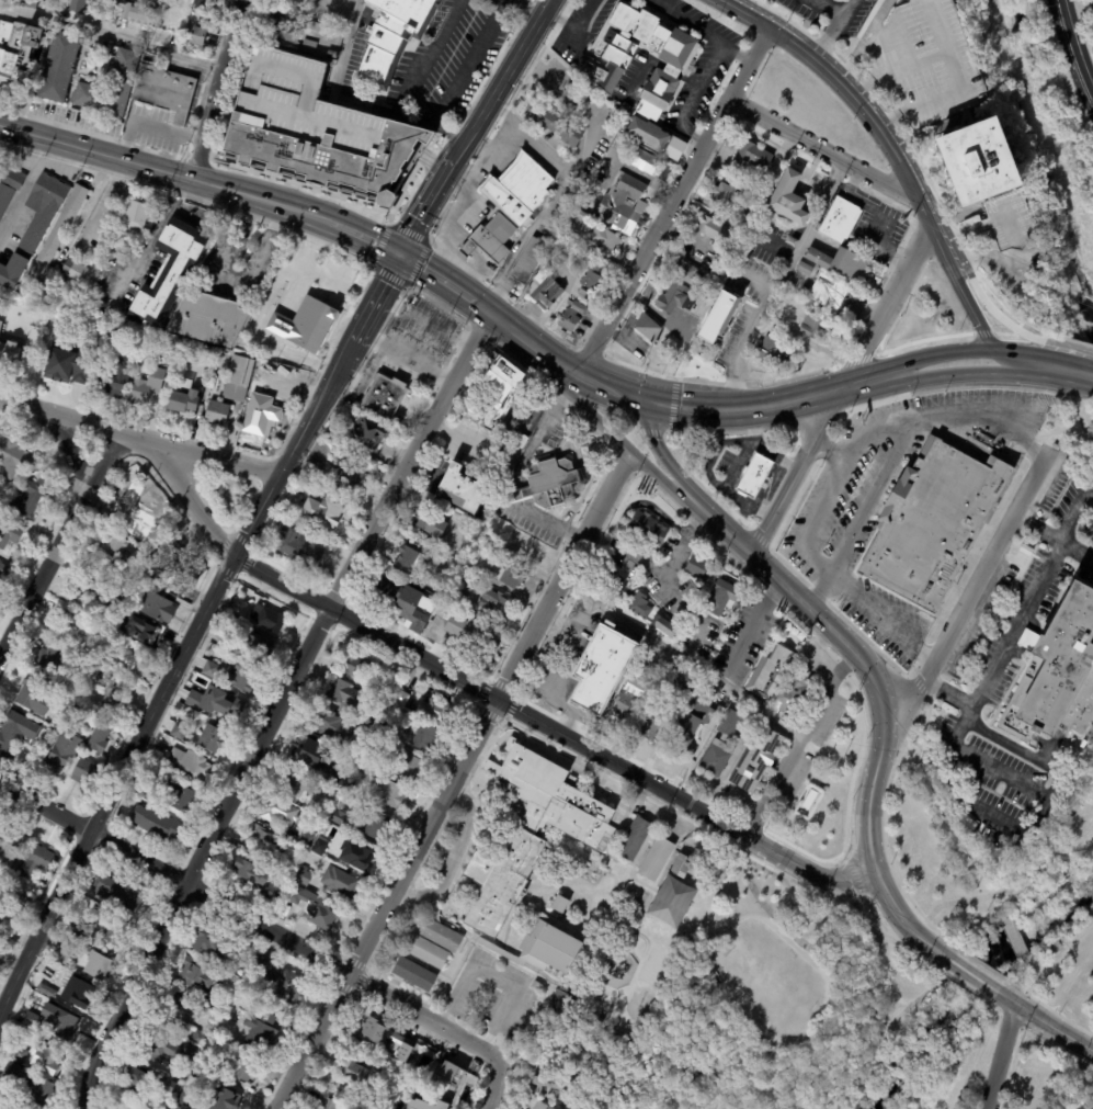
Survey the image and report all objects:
building: (15, 1)
building: (116, 1)
building: (31, 3)
road: (663, 4)
building: (77, 5)
building: (203, 5)
road: (526, 7)
road: (1077, 8)
road: (824, 9)
building: (137, 13)
building: (95, 15)
building: (285, 30)
road: (573, 30)
road: (699, 31)
road: (833, 32)
building: (198, 35)
road: (111, 36)
building: (392, 38)
road: (865, 43)
road: (1073, 45)
building: (309, 46)
building: (18, 53)
building: (332, 54)
road: (429, 57)
road: (468, 63)
building: (59, 67)
road: (642, 69)
road: (671, 69)
road: (688, 79)
building: (662, 81)
building: (121, 84)
road: (959, 89)
building: (164, 90)
road: (216, 90)
road: (845, 91)
road: (692, 99)
road: (351, 102)
building: (625, 109)
building: (555, 124)
road: (473, 126)
road: (169, 127)
building: (318, 132)
building: (618, 140)
road: (585, 147)
road: (827, 152)
building: (752, 157)
building: (644, 160)
building: (984, 162)
building: (0, 163)
building: (0, 167)
road: (628, 168)
road: (160, 171)
road: (23, 183)
building: (9, 185)
building: (517, 190)
building: (727, 196)
building: (790, 201)
road: (673, 202)
road: (104, 204)
building: (623, 204)
road: (87, 207)
building: (134, 216)
road: (878, 219)
building: (842, 220)
building: (35, 225)
building: (95, 226)
road: (807, 228)
building: (715, 230)
building: (594, 233)
road: (360, 235)
building: (55, 239)
road: (152, 239)
building: (491, 239)
building: (793, 242)
building: (736, 248)
traffic signals: (399, 253)
building: (728, 260)
road: (511, 261)
building: (841, 264)
building: (806, 270)
building: (73, 272)
building: (717, 273)
building: (688, 274)
building: (537, 275)
building: (170, 276)
building: (593, 276)
road: (229, 280)
road: (440, 282)
road: (957, 288)
building: (806, 292)
building: (582, 294)
building: (831, 294)
road: (893, 294)
building: (673, 298)
building: (34, 304)
building: (20, 313)
building: (30, 316)
building: (208, 317)
building: (571, 317)
building: (722, 319)
building: (305, 322)
building: (96, 326)
road: (441, 327)
building: (812, 327)
building: (115, 329)
road: (788, 329)
building: (648, 330)
building: (7, 342)
road: (528, 344)
building: (766, 352)
road: (1038, 352)
road: (934, 353)
building: (208, 354)
road: (737, 362)
road: (1006, 363)
building: (71, 365)
road: (1086, 366)
road: (987, 375)
building: (116, 377)
building: (238, 377)
road: (853, 378)
road: (864, 385)
building: (147, 386)
building: (501, 389)
road: (608, 389)
building: (385, 395)
building: (185, 396)
traffic signals: (641, 403)
road: (654, 405)
road: (759, 408)
building: (217, 411)
road: (977, 414)
building: (262, 415)
road: (831, 419)
park: (1073, 431)
road: (1086, 431)
building: (369, 432)
road: (865, 433)
road: (138, 438)
building: (520, 440)
road: (619, 443)
road: (69, 448)
road: (660, 453)
road: (833, 453)
building: (13, 459)
building: (782, 469)
building: (351, 474)
building: (754, 476)
building: (550, 484)
building: (463, 487)
road: (191, 497)
building: (29, 498)
road: (870, 499)
road: (785, 505)
building: (136, 508)
building: (325, 511)
road: (1069, 516)
road: (818, 518)
building: (459, 519)
building: (432, 523)
building: (931, 523)
building: (648, 528)
road: (1037, 532)
building: (9, 536)
building: (301, 543)
road: (59, 544)
road: (682, 545)
building: (117, 550)
building: (1027, 550)
building: (475, 551)
road: (748, 552)
building: (169, 556)
road: (1077, 556)
building: (410, 561)
building: (698, 567)
building: (4, 570)
building: (187, 576)
building: (511, 577)
building: (135, 578)
building: (616, 582)
road: (819, 589)
building: (92, 591)
road: (673, 591)
building: (459, 596)
building: (722, 598)
building: (494, 602)
road: (967, 604)
building: (157, 606)
building: (640, 606)
building: (414, 609)
building: (107, 613)
building: (440, 613)
road: (885, 618)
building: (267, 619)
road: (751, 623)
building: (665, 626)
building: (77, 633)
road: (191, 633)
building: (470, 633)
building: (146, 634)
building: (226, 641)
building: (255, 646)
road: (682, 658)
building: (781, 659)
building: (80, 663)
building: (50, 664)
building: (354, 665)
building: (600, 667)
building: (210, 669)
building: (93, 670)
building: (1056, 672)
building: (242, 677)
building: (686, 680)
road: (989, 684)
building: (387, 688)
building: (111, 691)
building: (794, 694)
building: (343, 695)
building: (34, 698)
building: (401, 698)
building: (213, 699)
road: (948, 700)
building: (626, 708)
road: (276, 709)
building: (77, 710)
building: (436, 711)
building: (371, 720)
building: (653, 722)
building: (693, 722)
building: (328, 723)
road: (883, 726)
building: (386, 727)
road: (553, 729)
building: (179, 731)
building: (747, 731)
building: (99, 732)
building: (11, 733)
building: (212, 738)
building: (425, 738)
road: (798, 743)
building: (722, 745)
building: (354, 748)
building: (61, 751)
building: (308, 751)
building: (280, 754)
building: (368, 757)
building: (758, 759)
building: (186, 763)
building: (405, 763)
building: (84, 772)
building: (337, 779)
road: (451, 780)
building: (297, 782)
building: (387, 792)
building: (147, 793)
building: (179, 794)
road: (635, 801)
building: (282, 812)
building: (343, 819)
building: (155, 823)
building: (375, 826)
building: (528, 835)
building: (306, 838)
building: (635, 839)
building: (265, 842)
building: (1025, 846)
building: (10, 847)
building: (319, 847)
road: (1064, 852)
building: (358, 857)
road: (454, 858)
building: (657, 860)
building: (36, 861)
building: (682, 867)
building: (251, 873)
building: (304, 876)
building: (340, 882)
building: (3, 884)
building: (119, 893)
building: (274, 894)
building: (18, 898)
building: (561, 904)
building: (316, 908)
building: (8, 915)
road: (251, 919)
park: (1036, 919)
road: (904, 925)
building: (106, 928)
road: (911, 932)
road: (1014, 935)
building: (441, 936)
building: (75, 941)
building: (209, 941)
building: (547, 944)
road: (970, 949)
building: (426, 952)
building: (65, 953)
building: (99, 966)
building: (237, 970)
building: (198, 973)
building: (414, 974)
road: (493, 978)
road: (975, 978)
building: (281, 981)
road: (1034, 982)
building: (536, 985)
building: (48, 992)
building: (79, 993)
parking lot: (492, 996)
building: (561, 1002)
building: (218, 1003)
building: (181, 1009)
building: (32, 1022)
road: (1047, 1023)
building: (65, 1027)
building: (260, 1030)
building: (23, 1034)
building: (198, 1038)
building: (386, 1038)
park: (914, 1040)
building: (160, 1050)
road: (981, 1052)
building: (192, 1053)
building: (19, 1054)
road: (1002, 1057)
building: (45, 1059)
building: (204, 1063)
building: (242, 1068)
building: (10, 1071)
building: (361, 1075)
building: (446, 1078)
building: (137, 1082)
road: (493, 1085)
building: (167, 1086)
building: (549, 1088)
building: (41, 1093)
building: (185, 1099)
building: (224, 1099)
building: (329, 1105)
building: (378, 1106)
building: (428, 1106)
building: (542, 1106)
building: (177, 1107)
building: (1086, 1107)
building: (606, 1108)

